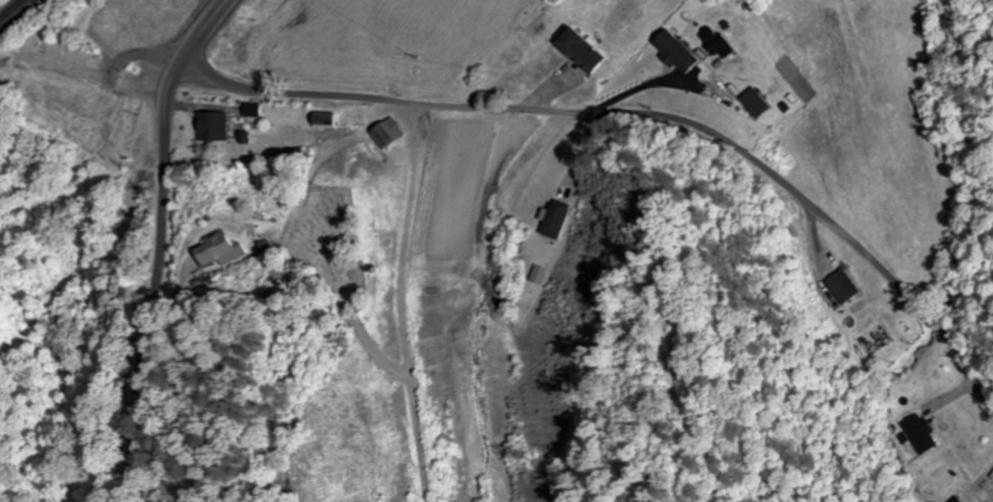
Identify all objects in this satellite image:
railway: (10, 9)
road: (205, 25)
building: (715, 42)
building: (576, 51)
building: (673, 52)
road: (152, 54)
road: (180, 57)
building: (752, 103)
building: (250, 110)
road: (642, 114)
building: (212, 128)
building: (386, 133)
building: (553, 221)
building: (219, 253)
road: (162, 282)
building: (838, 287)
building: (918, 433)

